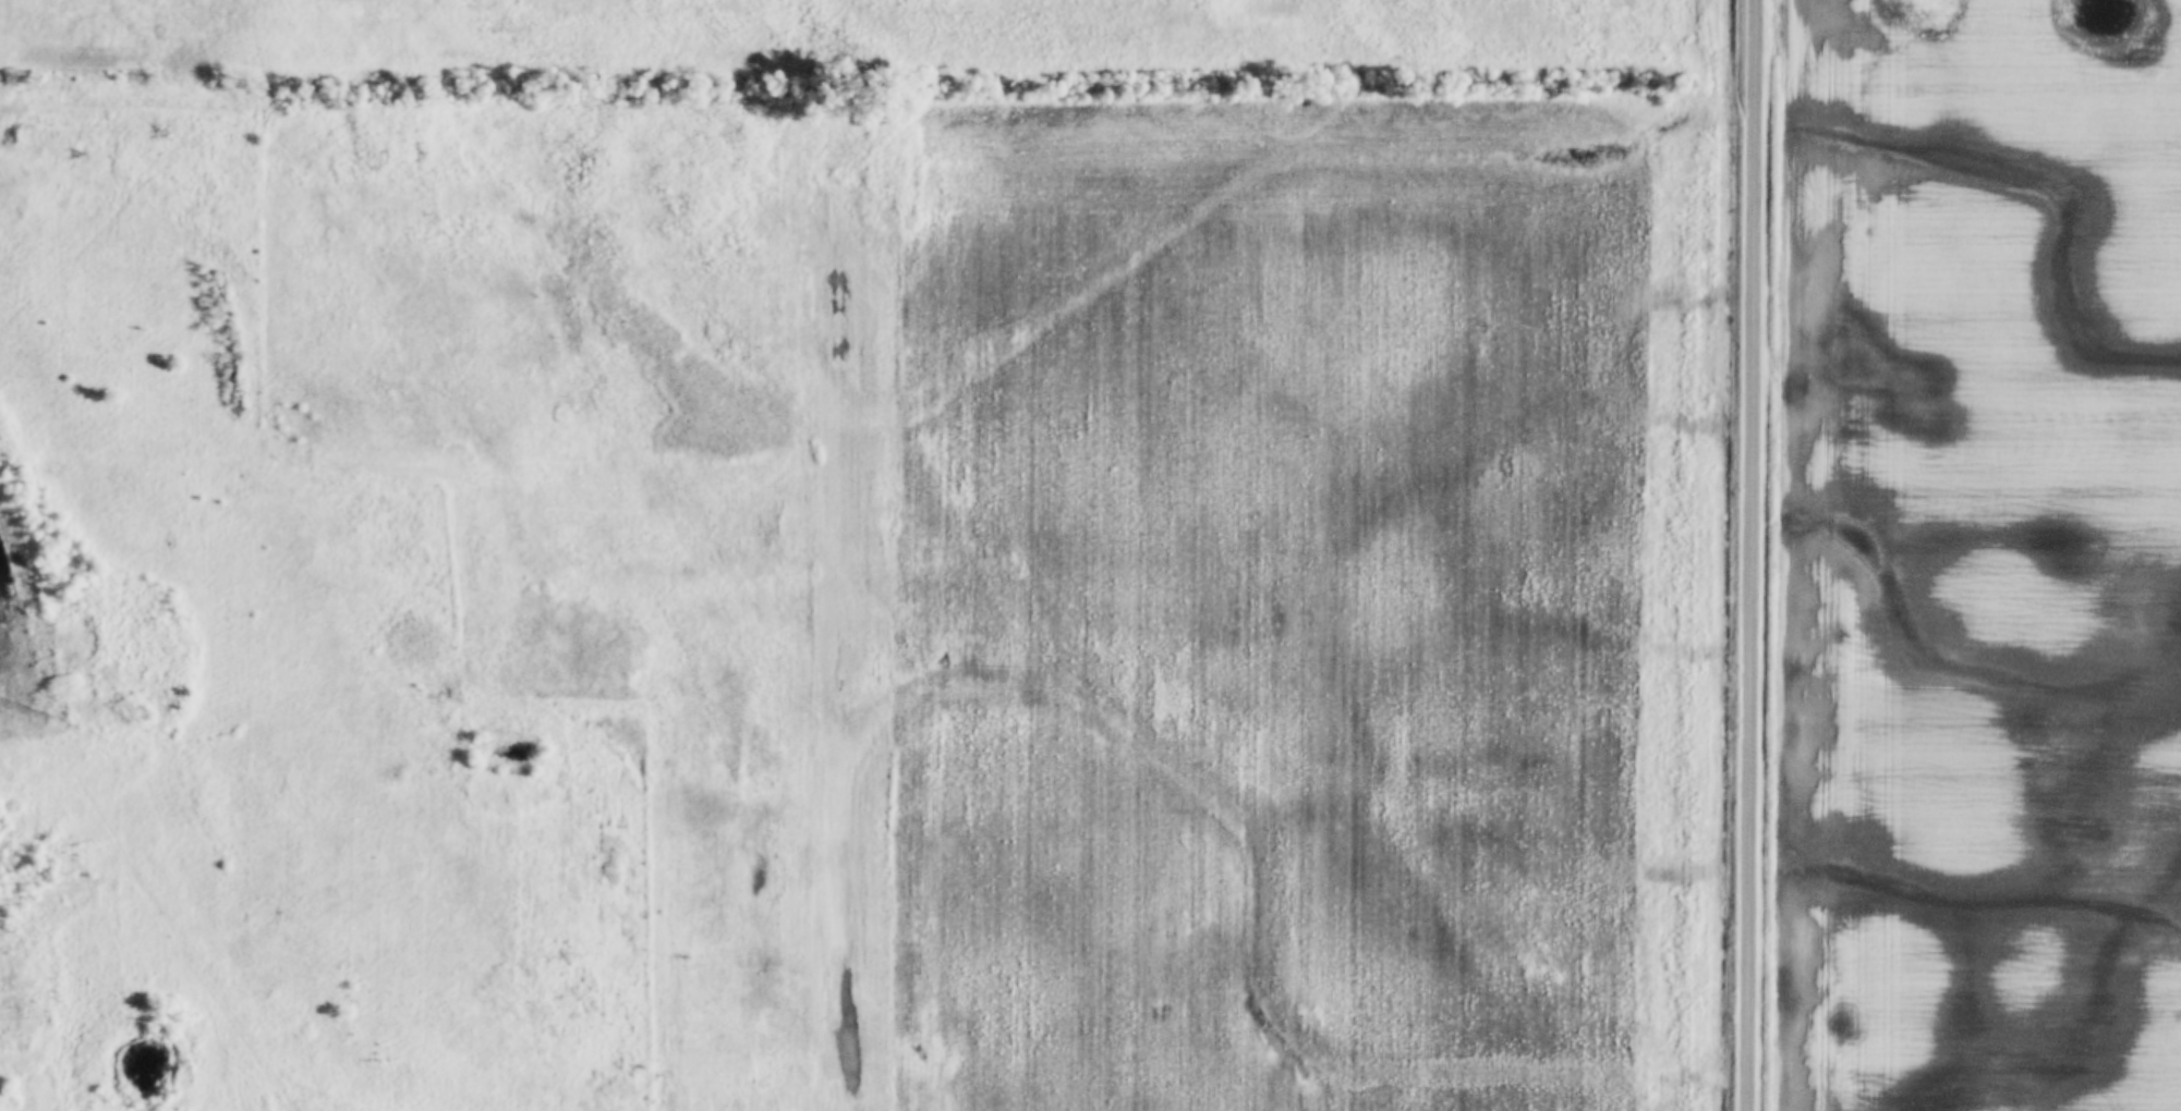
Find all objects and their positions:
road: (1755, 555)

